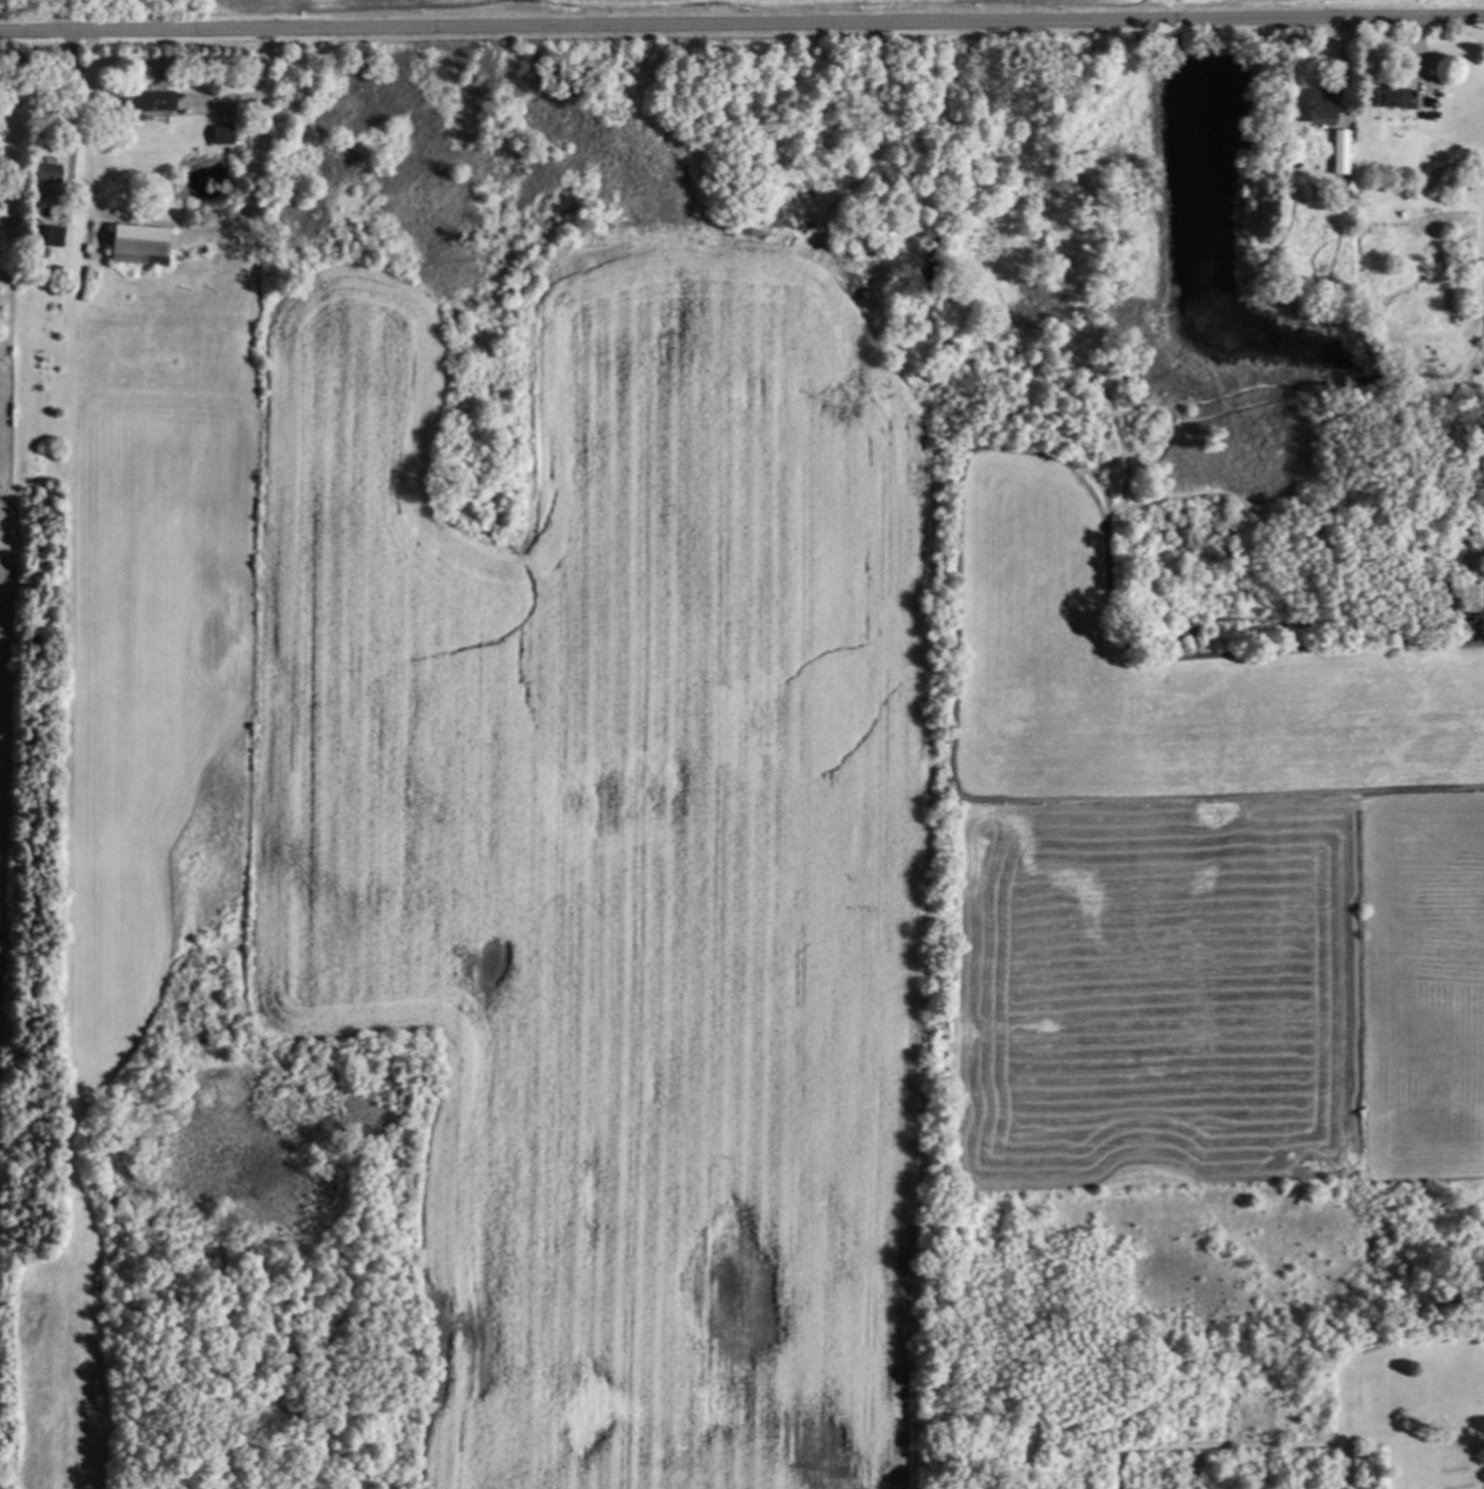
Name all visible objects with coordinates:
crop: (554, 3)
landfill: (104, 12)
road: (741, 27)
building: (1390, 97)
building: (145, 99)
building: (1314, 109)
road: (71, 115)
building: (218, 134)
building: (1338, 151)
building: (43, 175)
road: (174, 227)
building: (48, 235)
building: (134, 244)
road: (1477, 642)
crop: (629, 855)
crop: (5, 1114)

